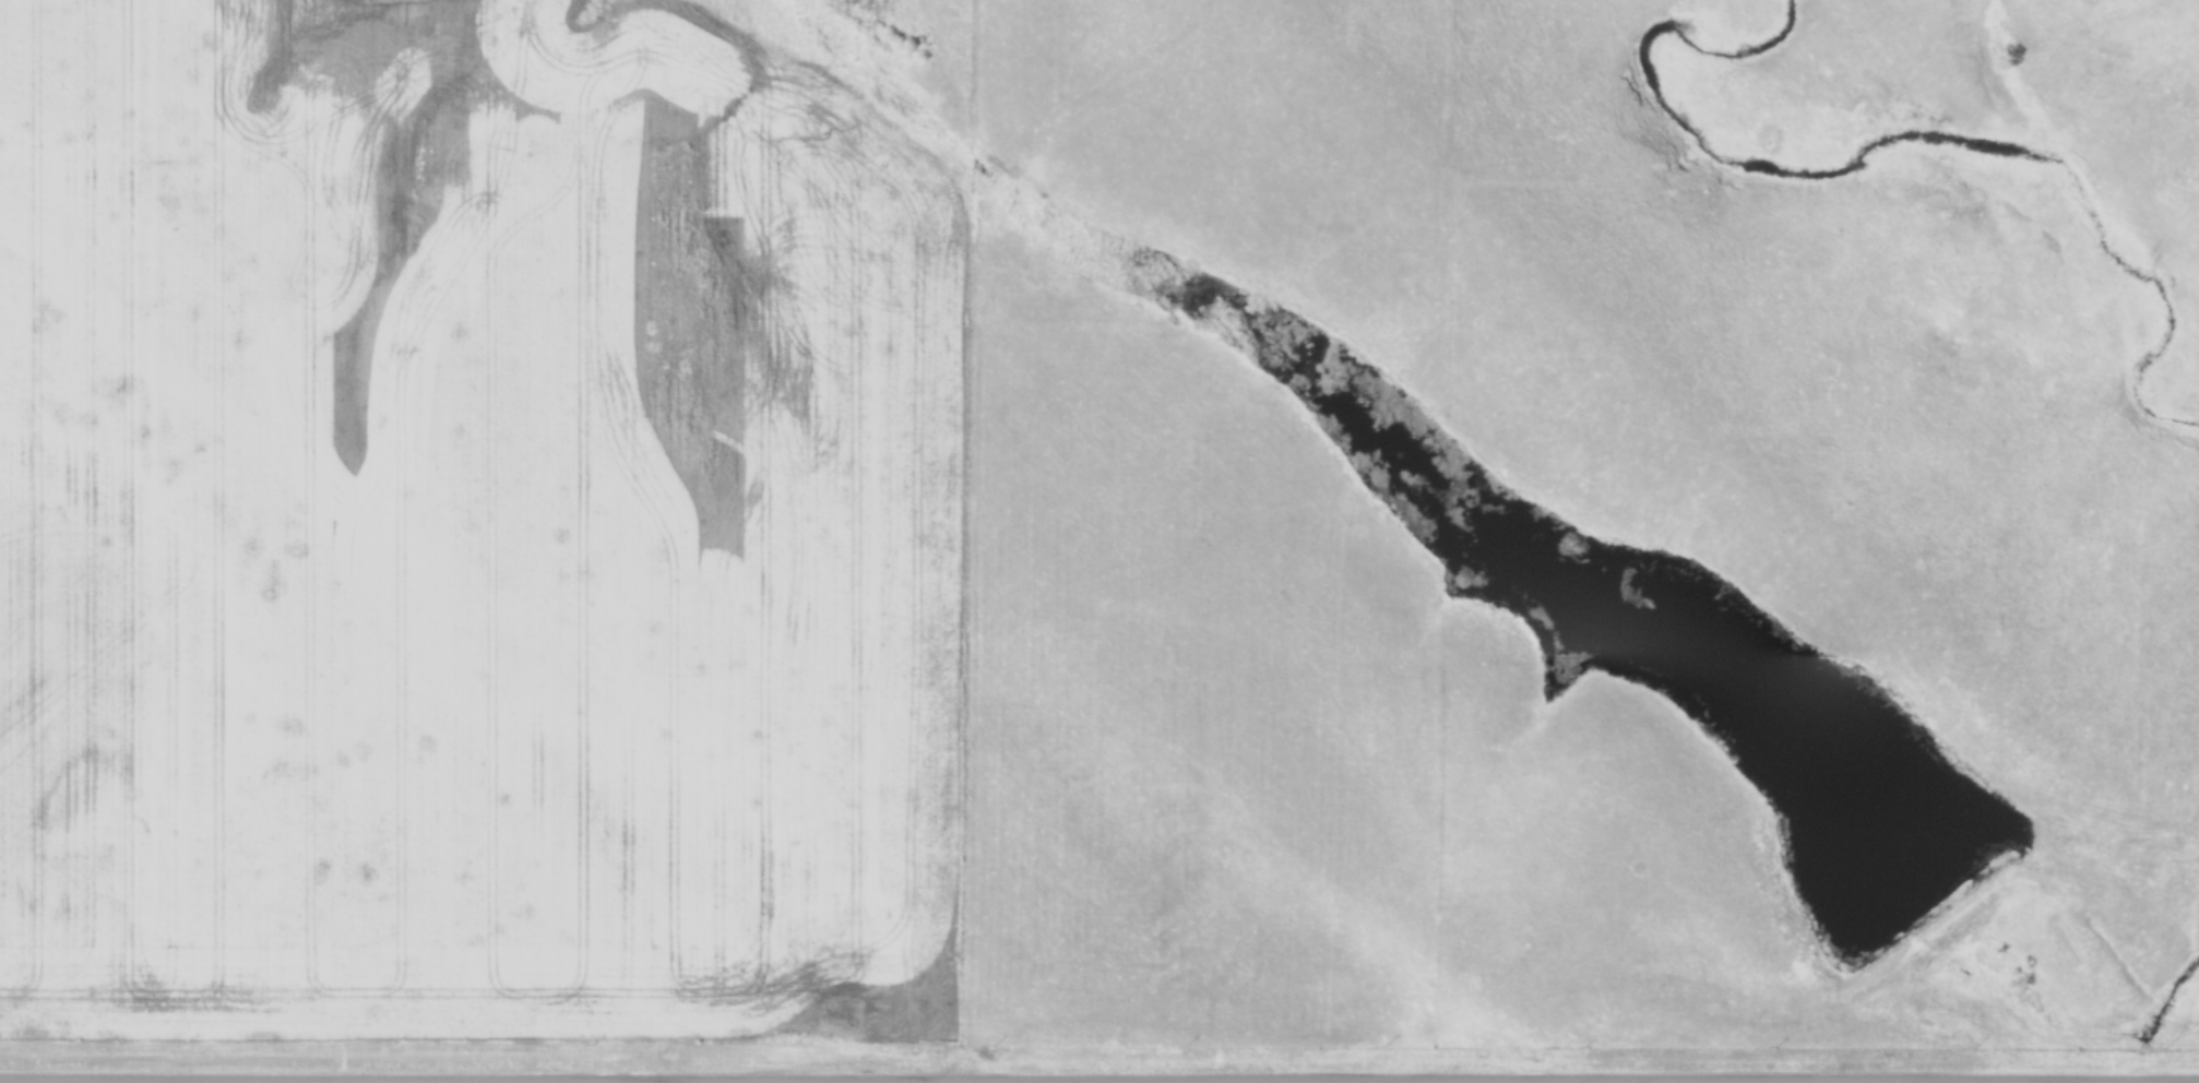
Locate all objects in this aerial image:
road: (433, 1082)

